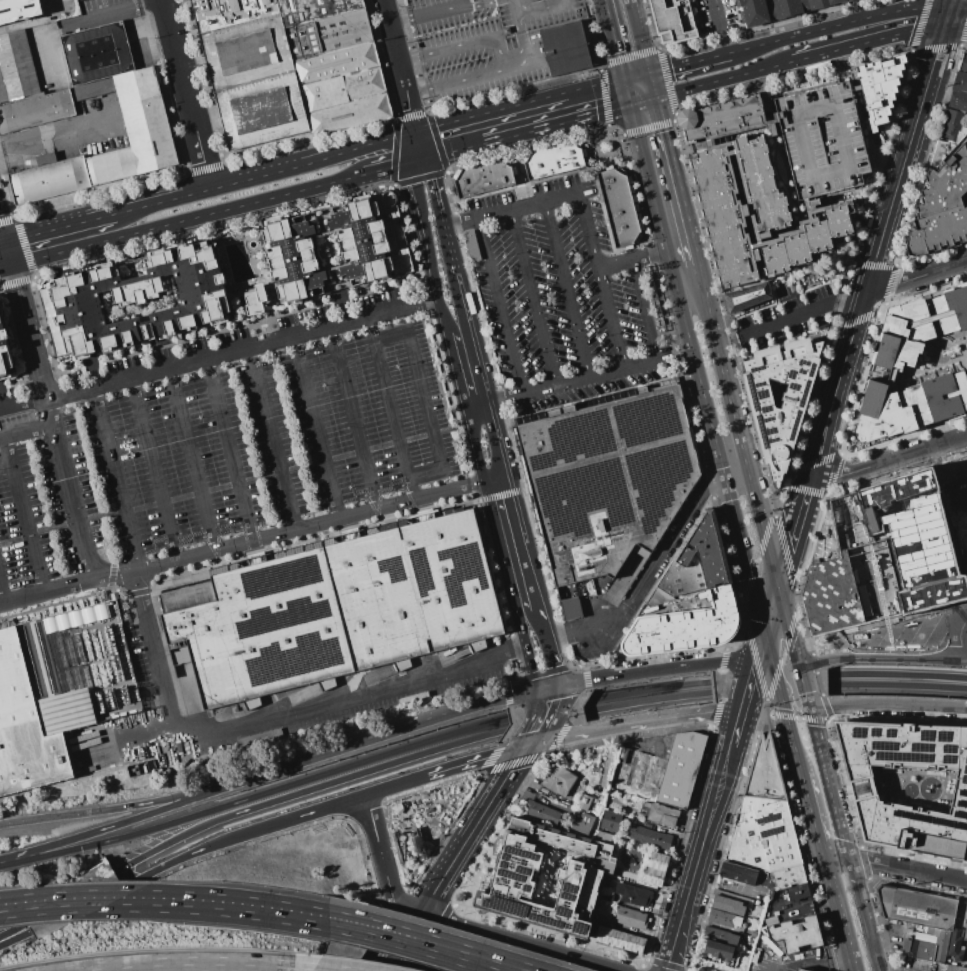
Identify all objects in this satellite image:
building: (476, 1)
road: (448, 7)
building: (775, 8)
road: (950, 8)
building: (18, 10)
road: (533, 10)
parking lot: (713, 16)
traffic signals: (948, 16)
road: (957, 17)
building: (669, 21)
road: (73, 24)
road: (838, 25)
road: (721, 26)
road: (390, 30)
road: (638, 36)
road: (614, 39)
road: (871, 41)
parking lot: (485, 43)
building: (565, 48)
road: (524, 49)
road: (500, 51)
road: (688, 62)
building: (963, 64)
building: (293, 70)
traffic signals: (649, 73)
road: (636, 76)
road: (402, 78)
traffic signals: (624, 79)
road: (724, 79)
building: (960, 82)
road: (652, 84)
road: (594, 85)
building: (854, 88)
building: (878, 88)
building: (26, 89)
road: (626, 91)
road: (185, 94)
traffic signals: (656, 96)
road: (642, 99)
building: (958, 100)
traffic signals: (629, 103)
road: (490, 112)
road: (410, 113)
building: (776, 116)
building: (728, 121)
road: (555, 122)
building: (146, 124)
building: (950, 124)
road: (57, 125)
traffic signals: (414, 132)
building: (825, 141)
parking lot: (825, 141)
road: (421, 143)
road: (412, 145)
road: (455, 147)
building: (710, 148)
traffic signals: (428, 154)
road: (906, 154)
road: (419, 156)
traffic signals: (410, 159)
building: (548, 162)
road: (386, 165)
road: (675, 170)
road: (264, 173)
road: (647, 177)
building: (478, 178)
road: (434, 184)
building: (942, 199)
building: (618, 207)
building: (812, 208)
road: (511, 211)
road: (186, 218)
building: (756, 218)
road: (58, 228)
road: (588, 233)
road: (2, 234)
building: (370, 241)
road: (2, 243)
road: (426, 247)
road: (679, 248)
road: (7, 254)
building: (293, 259)
road: (632, 261)
road: (5, 267)
road: (916, 277)
road: (566, 291)
building: (749, 297)
road: (533, 299)
parking lot: (561, 299)
building: (144, 304)
road: (500, 308)
road: (644, 312)
road: (802, 314)
parking lot: (786, 316)
road: (610, 321)
road: (27, 333)
road: (471, 345)
building: (8, 346)
road: (241, 351)
road: (718, 357)
building: (894, 363)
road: (695, 364)
road: (455, 372)
road: (837, 384)
road: (560, 385)
road: (424, 402)
road: (22, 404)
road: (389, 409)
road: (353, 418)
road: (315, 428)
road: (26, 432)
building: (777, 436)
parking lot: (224, 437)
road: (272, 439)
road: (229, 450)
road: (191, 459)
road: (889, 460)
road: (154, 469)
building: (951, 470)
road: (735, 473)
road: (116, 478)
building: (607, 479)
road: (68, 491)
road: (24, 516)
road: (494, 527)
building: (966, 528)
road: (762, 529)
road: (792, 532)
building: (962, 538)
road: (251, 540)
road: (520, 543)
building: (885, 556)
road: (745, 557)
road: (966, 557)
building: (696, 561)
building: (966, 566)
road: (648, 576)
traffic signals: (778, 588)
road: (2, 596)
building: (571, 608)
building: (335, 610)
road: (770, 614)
road: (541, 625)
building: (685, 626)
road: (788, 626)
road: (960, 639)
traffic signals: (763, 640)
building: (180, 655)
road: (882, 659)
road: (550, 664)
road: (529, 670)
road: (658, 670)
road: (774, 671)
road: (897, 674)
road: (749, 678)
road: (803, 687)
road: (897, 688)
traffic signals: (547, 690)
road: (647, 690)
road: (547, 695)
building: (38, 702)
traffic signals: (783, 703)
road: (646, 704)
road: (887, 705)
road: (795, 709)
road: (545, 710)
traffic signals: (809, 710)
road: (445, 716)
road: (267, 719)
road: (787, 719)
road: (632, 723)
road: (538, 727)
road: (734, 731)
building: (259, 739)
road: (531, 740)
traffic signals: (528, 745)
road: (795, 753)
road: (476, 760)
road: (363, 761)
road: (283, 767)
building: (681, 769)
building: (764, 771)
road: (361, 775)
building: (558, 780)
road: (395, 784)
road: (828, 784)
building: (907, 785)
building: (583, 802)
road: (111, 810)
building: (542, 813)
building: (659, 814)
road: (811, 816)
building: (611, 821)
road: (127, 822)
building: (582, 823)
road: (246, 833)
road: (704, 835)
road: (128, 837)
building: (649, 837)
road: (167, 843)
building: (768, 844)
road: (456, 857)
road: (16, 859)
road: (835, 859)
road: (382, 860)
building: (656, 869)
road: (908, 869)
building: (738, 873)
building: (579, 876)
road: (827, 879)
building: (633, 894)
building: (607, 897)
road: (173, 904)
building: (728, 906)
road: (801, 907)
building: (915, 907)
road: (863, 915)
building: (600, 918)
building: (631, 918)
building: (724, 918)
road: (454, 926)
building: (965, 931)
road: (10, 933)
building: (753, 933)
building: (797, 934)
road: (841, 935)
building: (720, 936)
road: (17, 939)
building: (620, 939)
building: (954, 945)
road: (428, 946)
road: (672, 947)
building: (929, 947)
road: (453, 949)
building: (719, 950)
road: (548, 953)
road: (781, 954)
road: (202, 966)
building: (949, 967)
building: (800, 969)
building: (960, 969)

